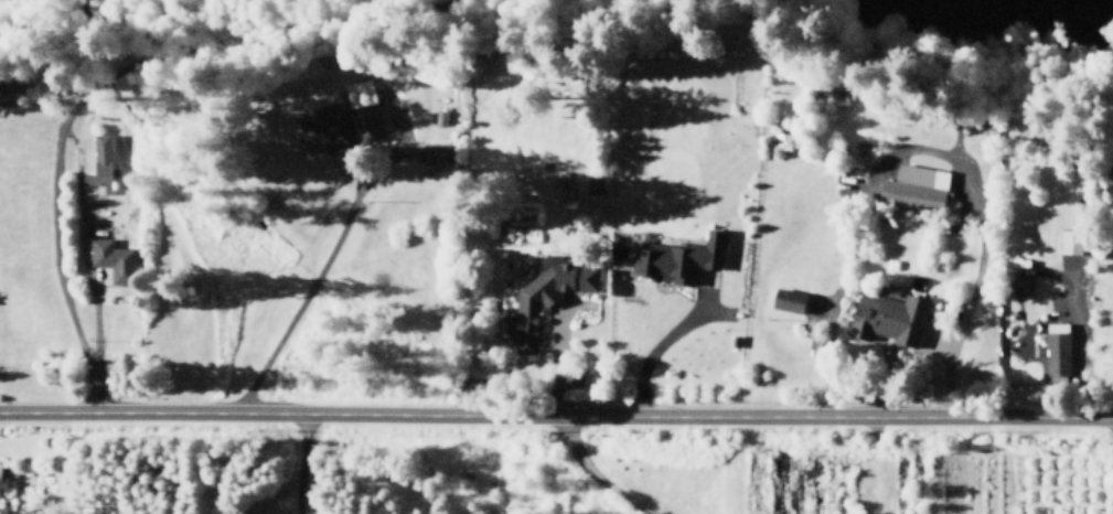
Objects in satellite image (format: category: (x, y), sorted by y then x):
building: (366, 108)
building: (325, 129)
building: (438, 151)
building: (104, 160)
building: (595, 182)
building: (921, 189)
building: (566, 190)
road: (53, 226)
building: (1073, 239)
building: (115, 257)
building: (679, 257)
building: (1020, 285)
building: (547, 295)
building: (792, 298)
building: (890, 317)
building: (1058, 346)
road: (556, 413)
road: (593, 473)
building: (3, 481)

